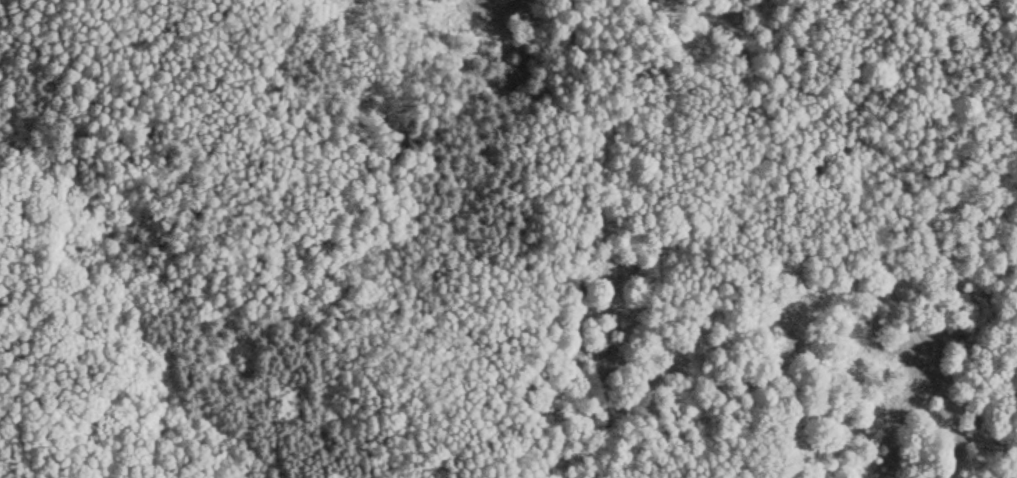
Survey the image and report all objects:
road: (582, 205)
road: (842, 231)

